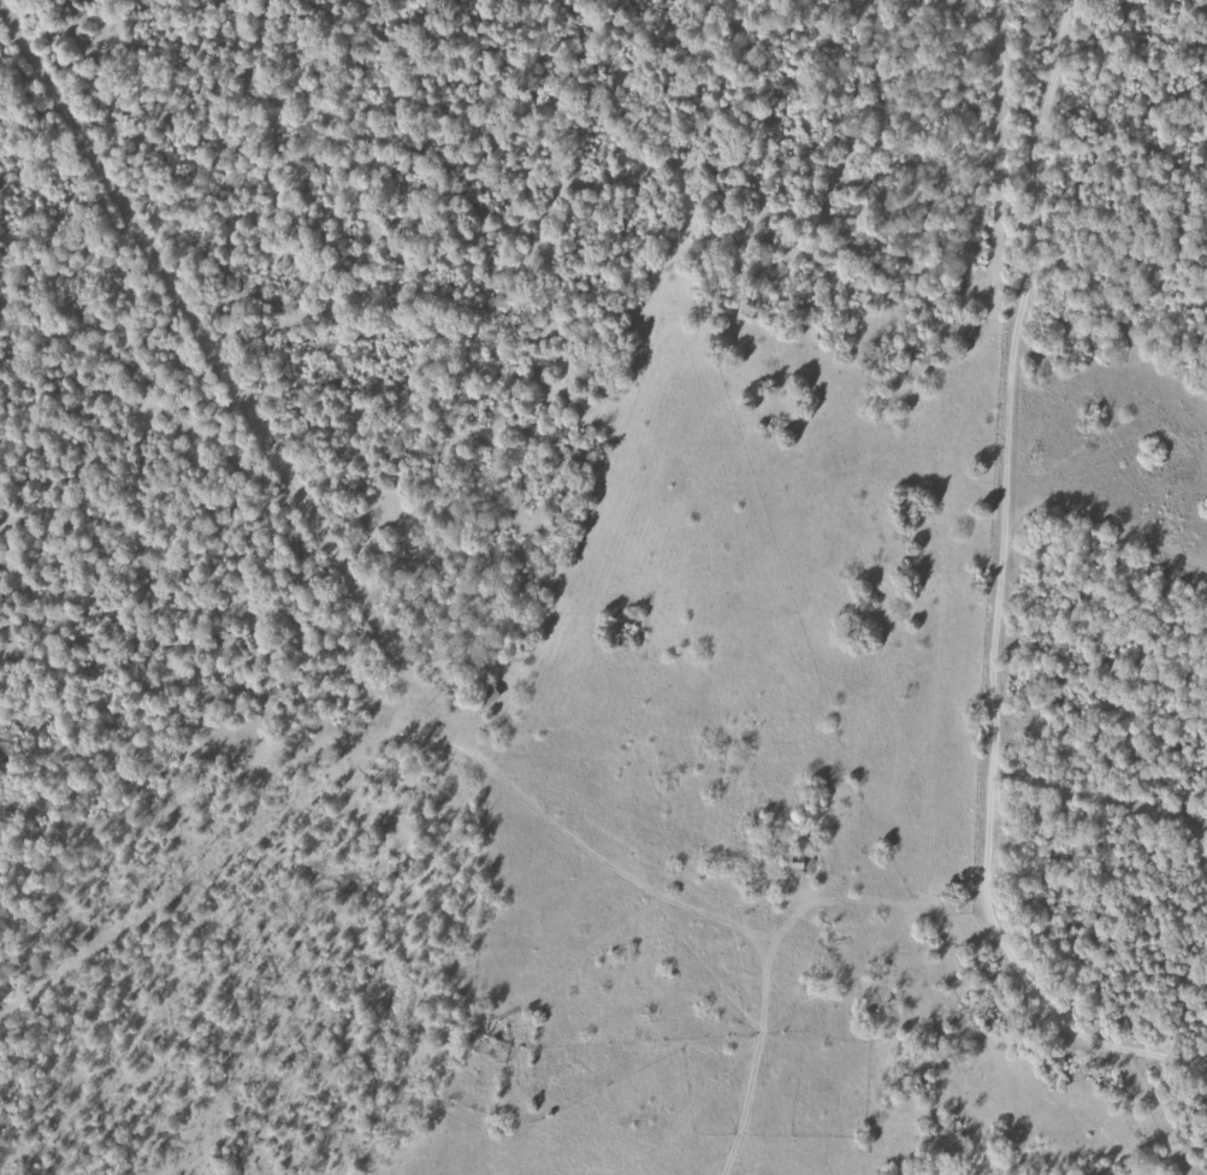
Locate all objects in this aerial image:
road: (1113, 249)
road: (1010, 444)
road: (1104, 592)
road: (773, 947)
road: (1060, 1023)

